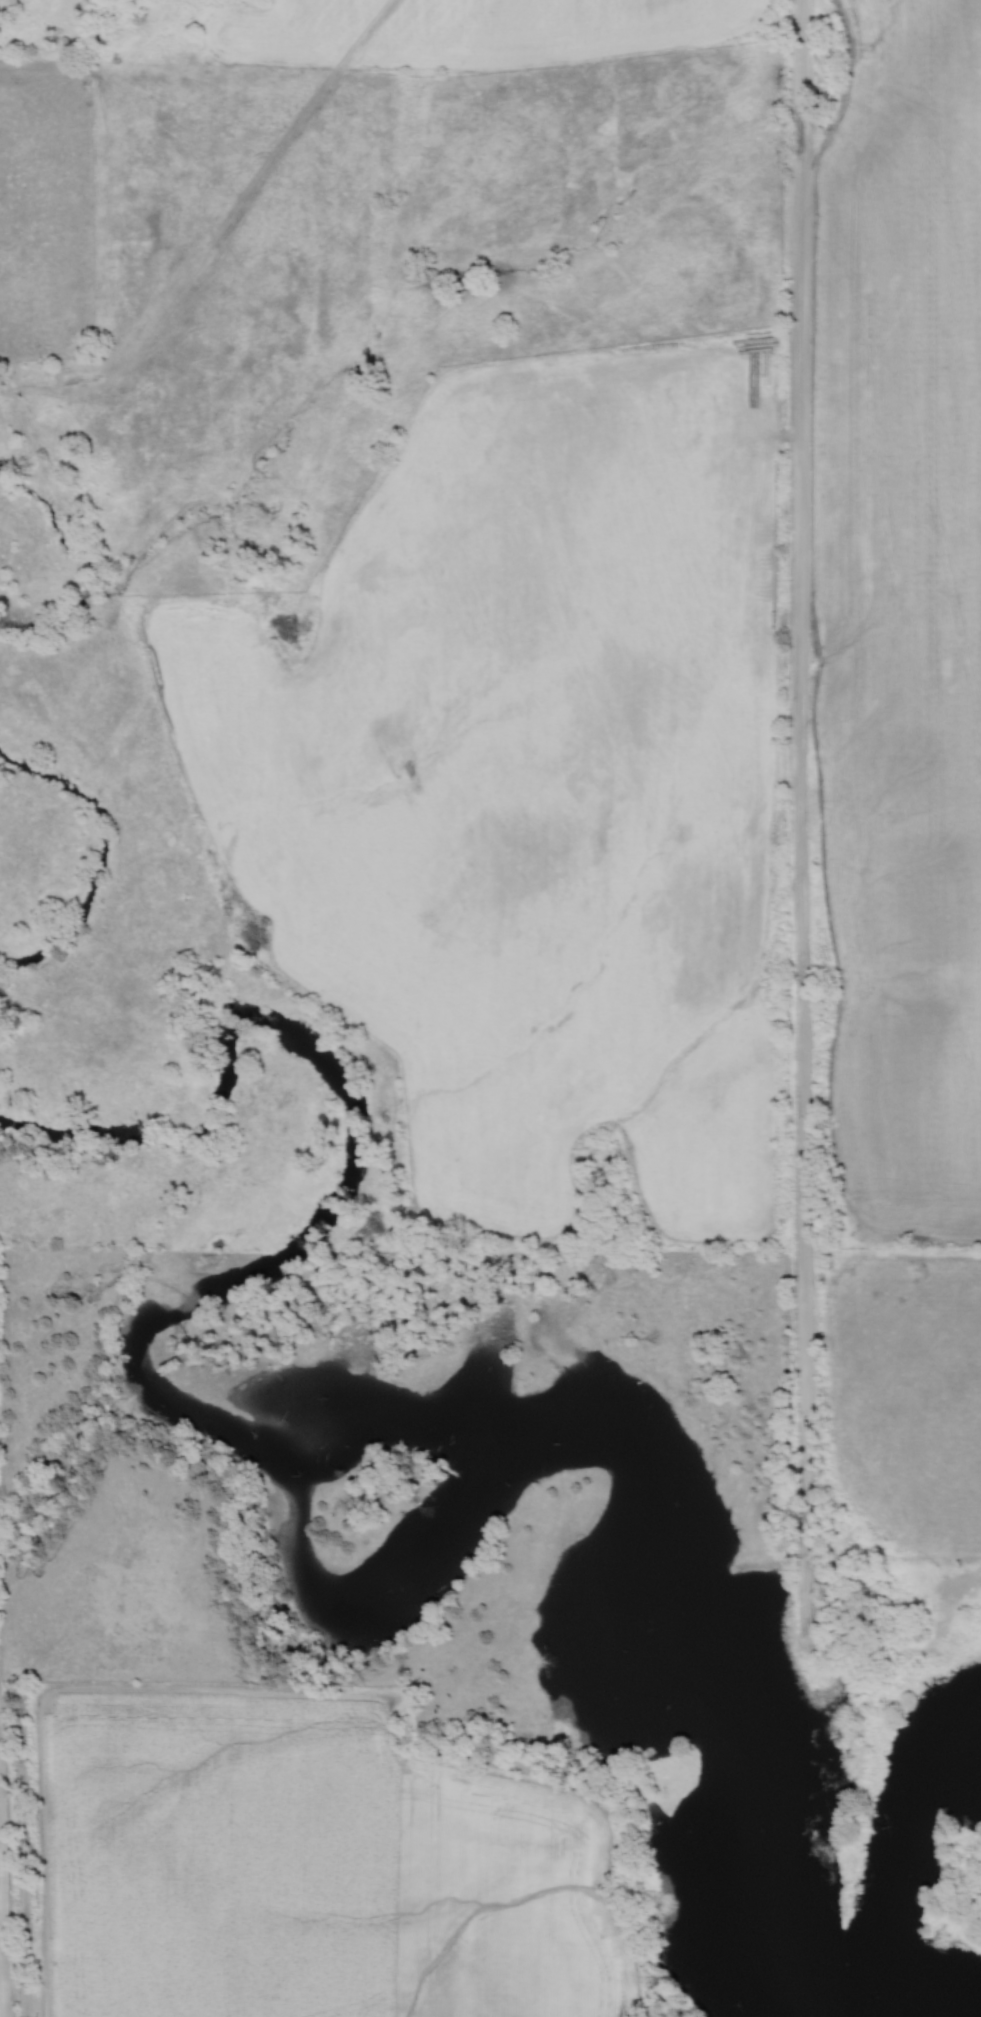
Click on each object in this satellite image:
road: (808, 808)

